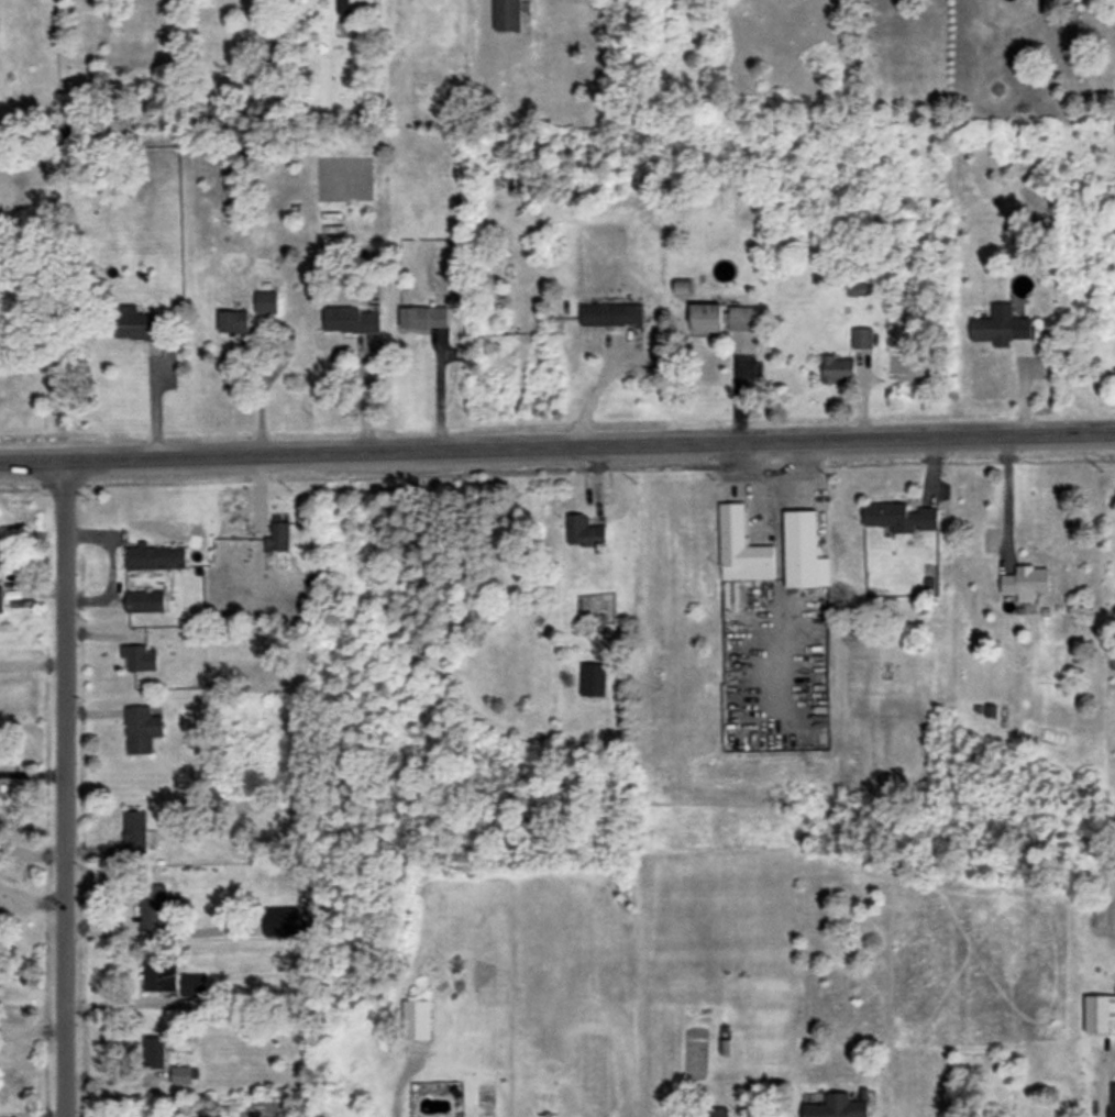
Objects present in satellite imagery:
building: (507, 14)
building: (855, 288)
building: (265, 301)
building: (611, 313)
building: (423, 317)
building: (722, 317)
building: (351, 320)
building: (233, 321)
building: (134, 323)
building: (1000, 325)
building: (862, 338)
building: (837, 369)
road: (595, 387)
road: (262, 392)
road: (556, 443)
road: (765, 478)
road: (1003, 497)
building: (899, 517)
building: (583, 531)
building: (277, 533)
building: (741, 548)
building: (803, 551)
building: (155, 556)
road: (111, 565)
building: (1027, 582)
building: (0, 599)
building: (144, 600)
building: (139, 657)
building: (593, 678)
building: (142, 729)
road: (66, 787)
building: (136, 832)
road: (31, 903)
building: (153, 905)
building: (281, 920)
building: (159, 974)
building: (194, 983)
building: (1099, 1013)
building: (416, 1018)
building: (153, 1051)
building: (181, 1074)
building: (1113, 1099)
building: (837, 1106)
building: (719, 1112)
road: (1097, 1116)

